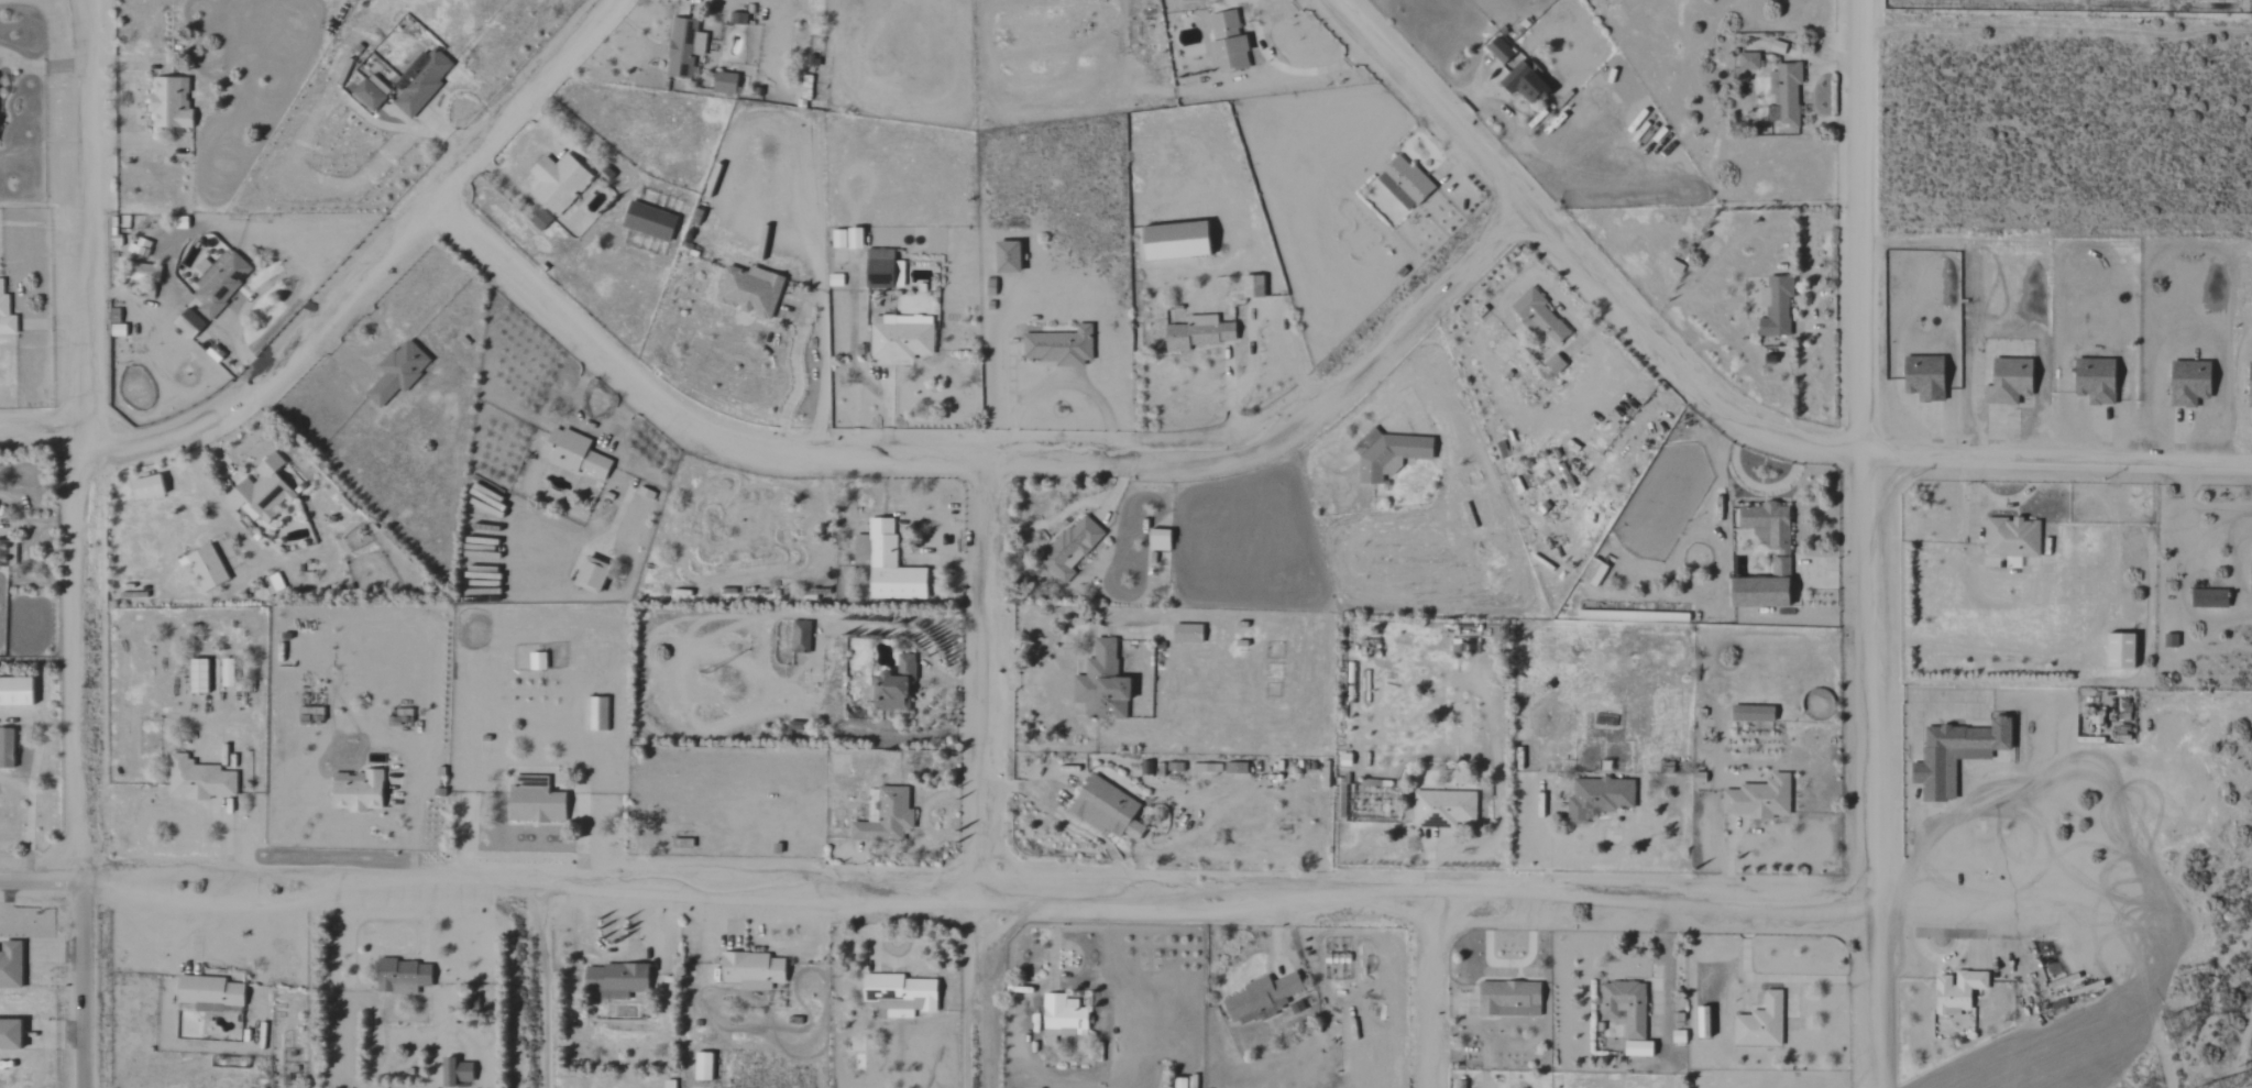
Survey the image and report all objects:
building: (1224, 42)
building: (682, 48)
building: (1497, 50)
building: (1746, 62)
road: (1275, 65)
road: (40, 66)
building: (723, 83)
building: (1523, 84)
building: (369, 92)
building: (1783, 97)
building: (167, 102)
road: (129, 108)
road: (1506, 112)
road: (450, 136)
building: (557, 183)
building: (1403, 183)
building: (647, 221)
building: (845, 239)
building: (1173, 241)
road: (2057, 243)
building: (1006, 257)
road: (367, 263)
building: (881, 270)
road: (1567, 270)
building: (834, 281)
building: (218, 283)
road: (268, 283)
building: (1251, 287)
building: (748, 290)
building: (1775, 306)
building: (6, 316)
building: (1537, 316)
building: (186, 323)
building: (1197, 333)
building: (900, 338)
road: (375, 345)
building: (1058, 347)
building: (1552, 364)
building: (396, 373)
road: (1066, 378)
building: (1923, 378)
road: (797, 381)
building: (2094, 381)
building: (2007, 382)
road: (867, 383)
building: (2188, 383)
building: (2249, 386)
road: (1232, 394)
road: (582, 420)
road: (42, 431)
road: (83, 440)
road: (970, 450)
road: (2057, 450)
building: (572, 454)
building: (1387, 455)
building: (144, 487)
road: (1758, 488)
building: (260, 492)
road: (2000, 501)
road: (1070, 507)
road: (41, 526)
building: (2011, 538)
road: (1865, 543)
building: (1069, 548)
building: (4, 556)
building: (1778, 560)
building: (886, 564)
building: (205, 568)
building: (589, 575)
building: (2251, 578)
building: (272, 584)
building: (2208, 598)
building: (1185, 634)
building: (799, 637)
building: (2118, 651)
building: (196, 677)
road: (1078, 681)
building: (1100, 684)
building: (892, 686)
building: (14, 692)
building: (595, 714)
building: (4, 748)
building: (1954, 755)
road: (979, 768)
building: (1232, 768)
building: (197, 780)
road: (32, 781)
building: (356, 793)
building: (1599, 798)
building: (1758, 799)
building: (534, 804)
building: (1441, 807)
building: (1105, 810)
building: (886, 817)
road: (1067, 817)
road: (39, 881)
road: (1078, 892)
road: (8, 900)
building: (9, 964)
building: (750, 970)
building: (402, 976)
building: (613, 979)
road: (81, 985)
road: (549, 989)
building: (1956, 991)
building: (208, 993)
building: (898, 993)
road: (1440, 993)
building: (1260, 998)
building: (1507, 999)
building: (1624, 1005)
building: (1061, 1019)
building: (1701, 1022)
power tower: (2179, 1022)
building: (1759, 1023)
building: (9, 1034)
building: (263, 1035)
building: (1636, 1048)
building: (703, 1065)
building: (454, 1071)
building: (1178, 1082)
building: (668, 1084)

